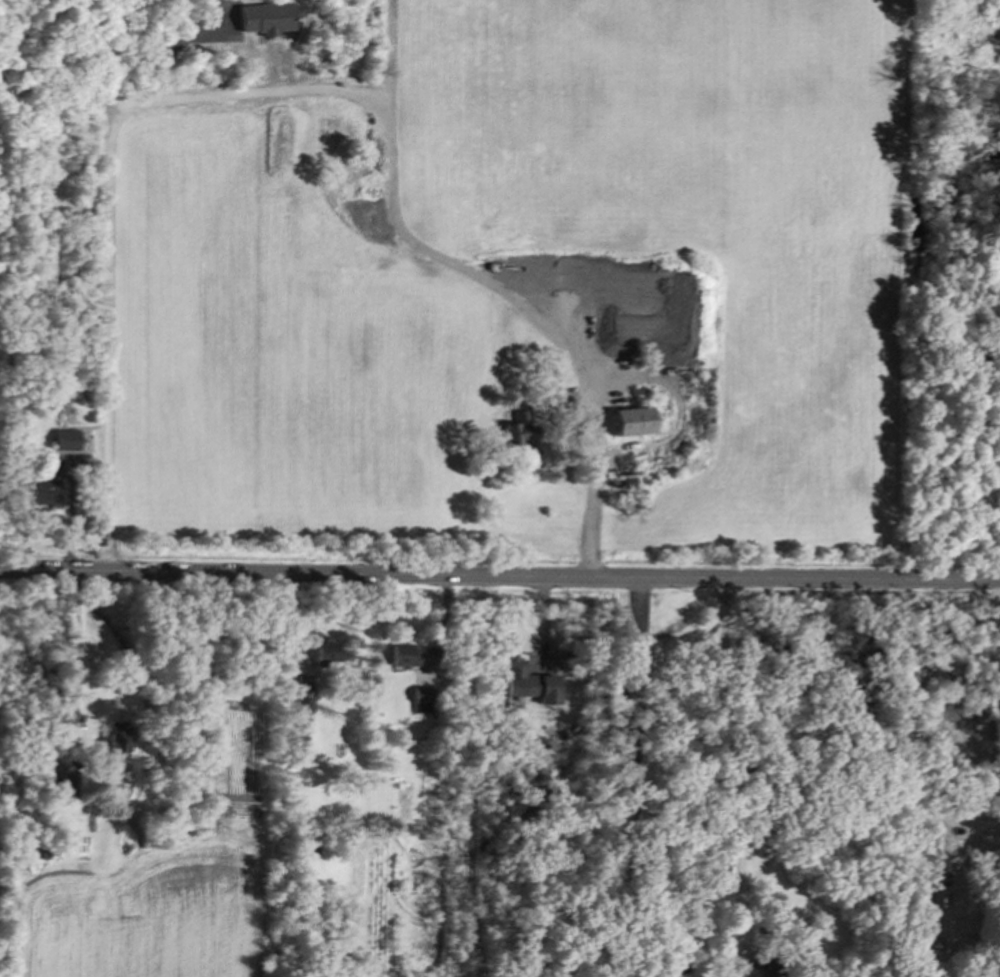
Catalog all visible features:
building: (265, 18)
road: (165, 68)
road: (436, 252)
road: (107, 285)
crop: (529, 288)
building: (631, 421)
building: (519, 429)
building: (66, 440)
building: (37, 491)
road: (499, 577)
road: (988, 639)
building: (327, 653)
building: (404, 656)
road: (76, 663)
building: (528, 683)
building: (305, 694)
building: (423, 700)
building: (117, 742)
road: (737, 764)
road: (637, 779)
building: (68, 787)
road: (979, 874)
building: (932, 910)
crop: (137, 937)

